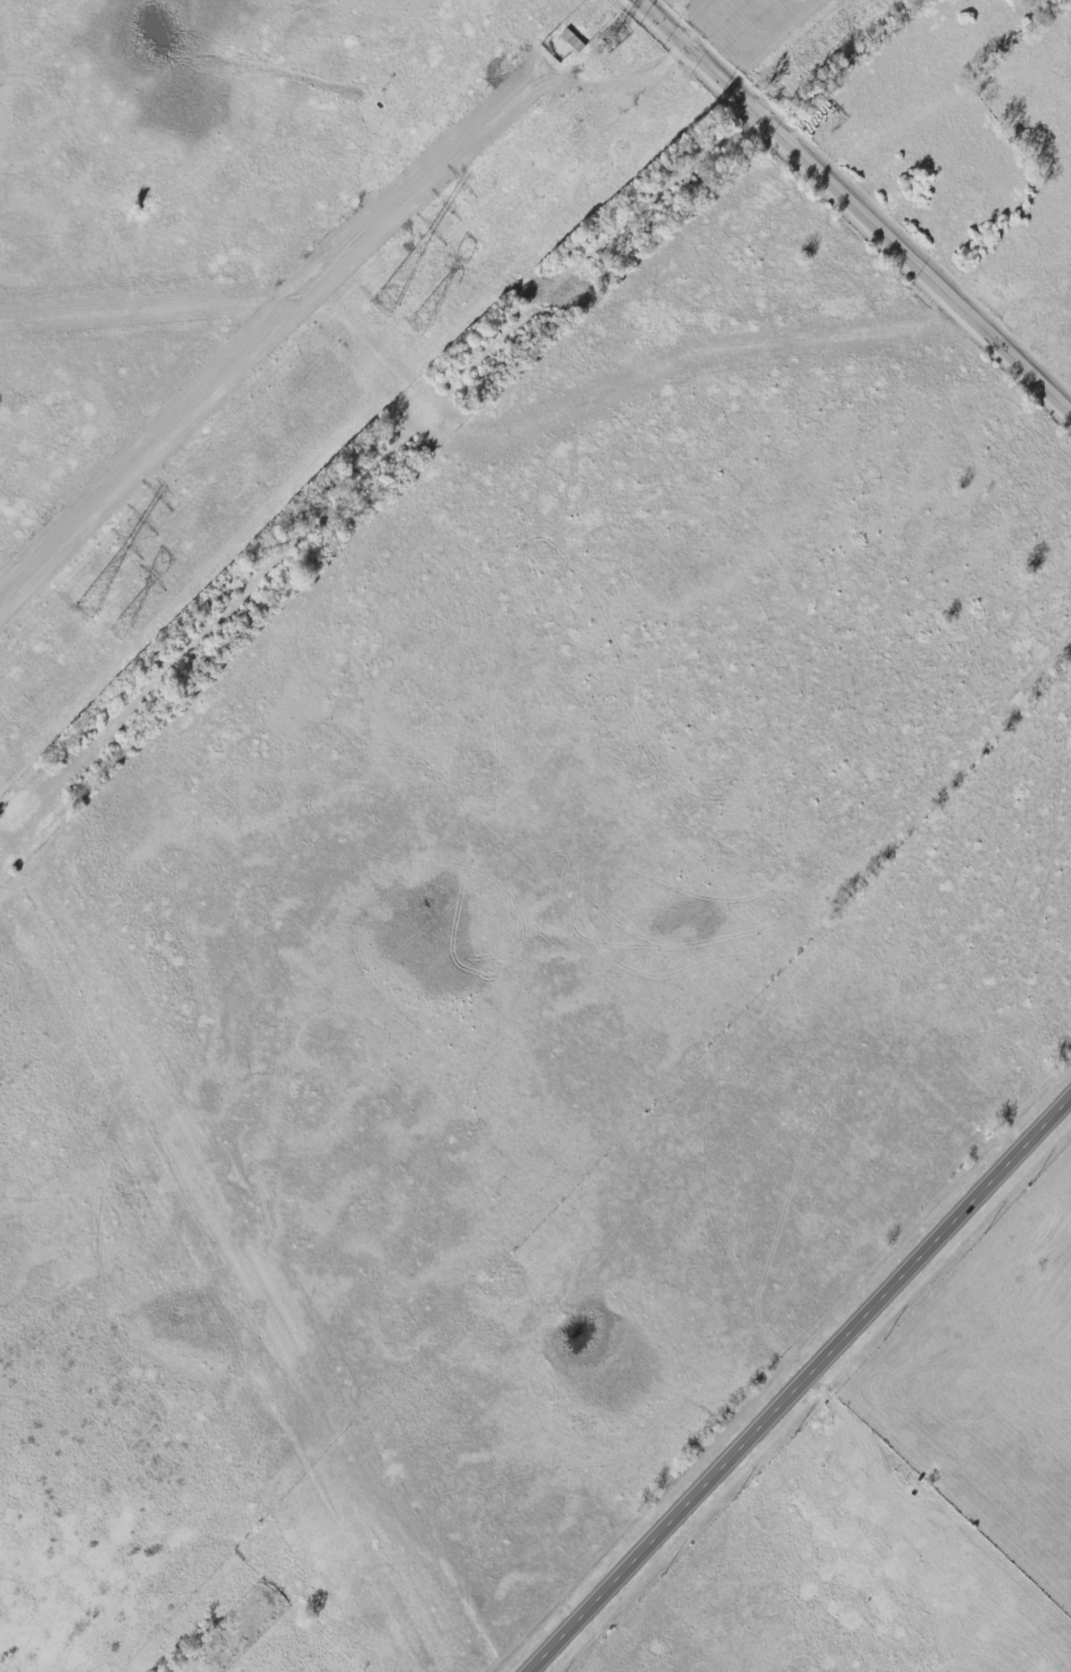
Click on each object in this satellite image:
road: (858, 202)
power tower: (386, 300)
power tower: (417, 326)
railway: (448, 430)
power tower: (87, 609)
power tower: (117, 630)
road: (803, 1386)

